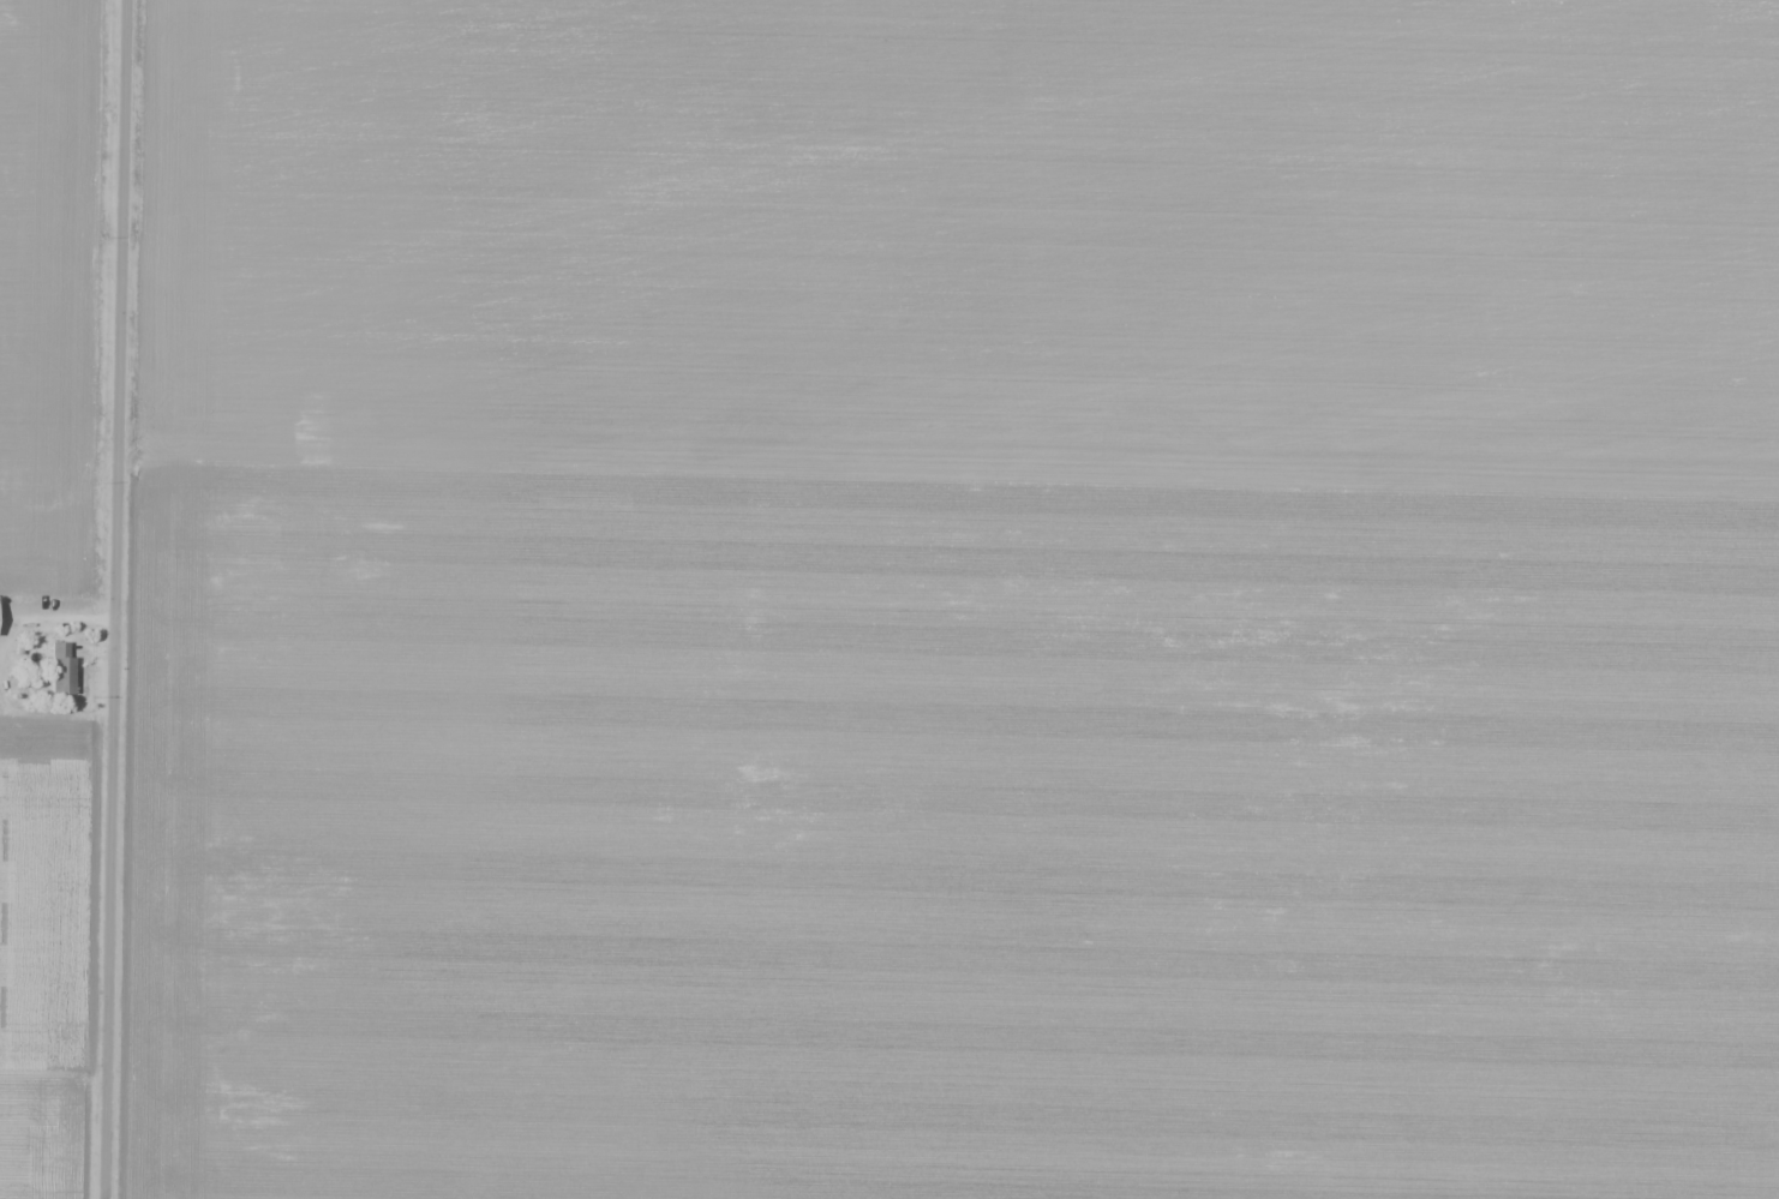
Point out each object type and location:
road: (108, 599)
building: (59, 667)

